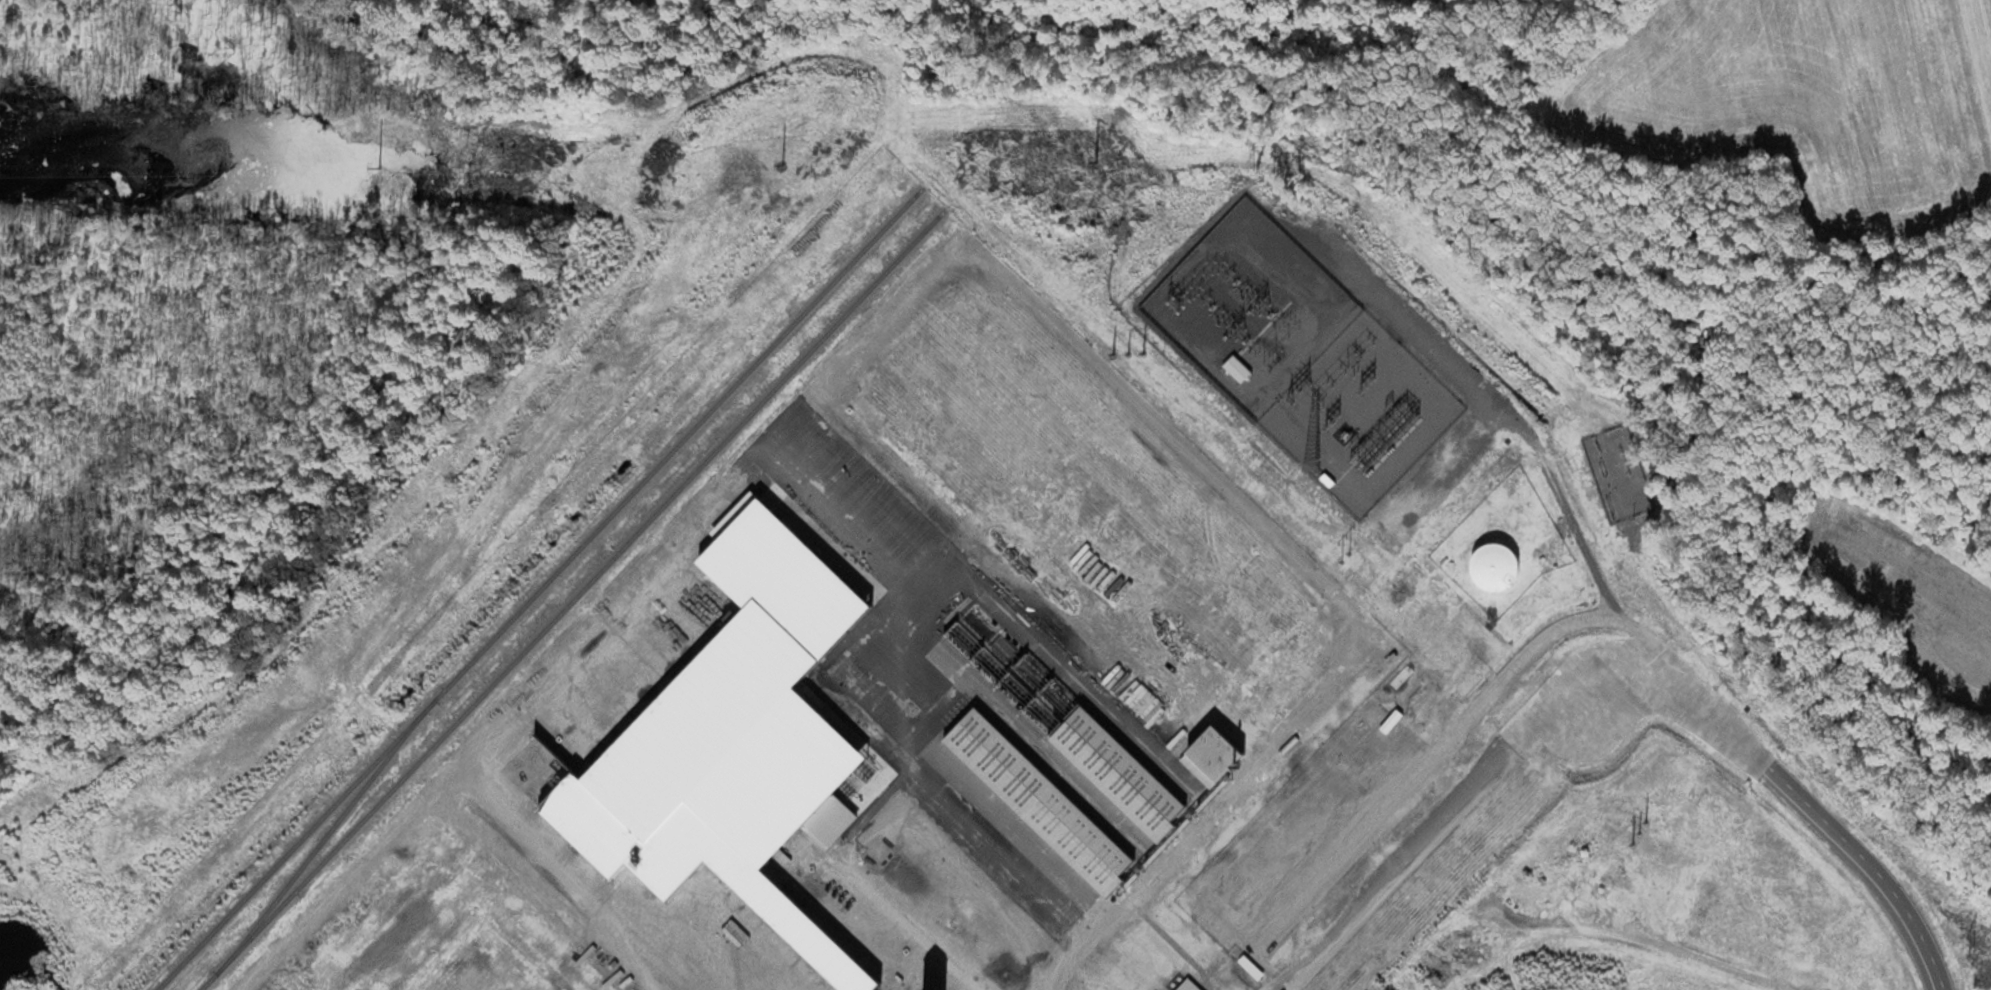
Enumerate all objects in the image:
power substation: (1327, 380)
railway: (539, 588)
building: (1508, 786)
building: (1468, 810)
building: (1583, 866)
building: (1319, 983)

